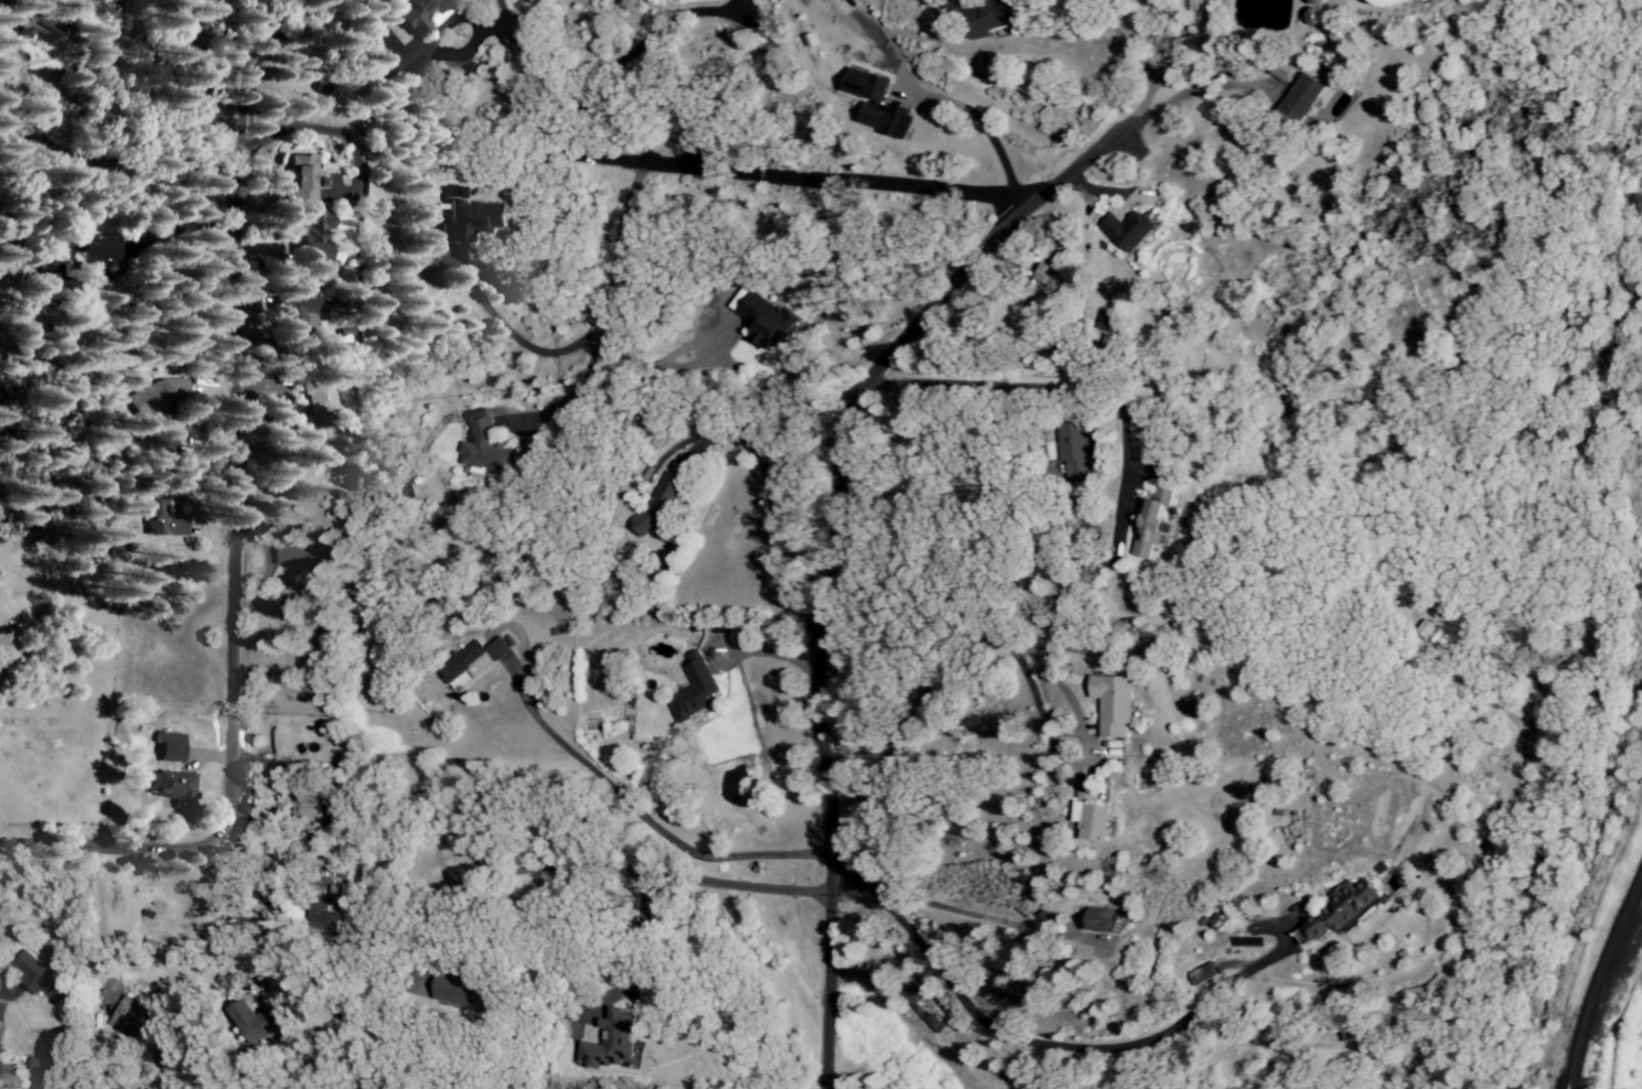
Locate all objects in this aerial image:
building: (1386, 2)
building: (415, 15)
building: (1313, 18)
building: (987, 21)
building: (31, 22)
road: (635, 46)
road: (525, 63)
road: (1161, 67)
building: (1278, 72)
building: (1298, 100)
building: (876, 105)
road: (990, 132)
road: (114, 161)
road: (813, 177)
building: (299, 182)
building: (471, 222)
building: (1126, 231)
building: (310, 239)
building: (93, 255)
building: (1044, 276)
road: (1002, 314)
building: (1106, 314)
building: (294, 315)
road: (597, 323)
building: (764, 323)
road: (508, 333)
road: (1049, 386)
building: (157, 398)
building: (319, 402)
building: (483, 448)
building: (1072, 452)
road: (227, 516)
building: (161, 521)
building: (1153, 524)
road: (813, 547)
building: (298, 560)
building: (1424, 632)
road: (987, 637)
building: (495, 648)
building: (6, 651)
building: (379, 655)
building: (463, 667)
building: (379, 684)
building: (694, 689)
building: (1112, 703)
building: (168, 748)
building: (171, 788)
road: (637, 820)
building: (1093, 822)
road: (712, 877)
building: (1338, 910)
road: (223, 917)
building: (318, 918)
building: (1216, 919)
building: (1101, 920)
building: (1200, 974)
building: (39, 978)
railway: (1598, 980)
building: (451, 993)
building: (923, 1004)
building: (128, 1018)
building: (245, 1021)
building: (608, 1042)
road: (1037, 1044)
building: (41, 1067)
building: (9, 1077)

